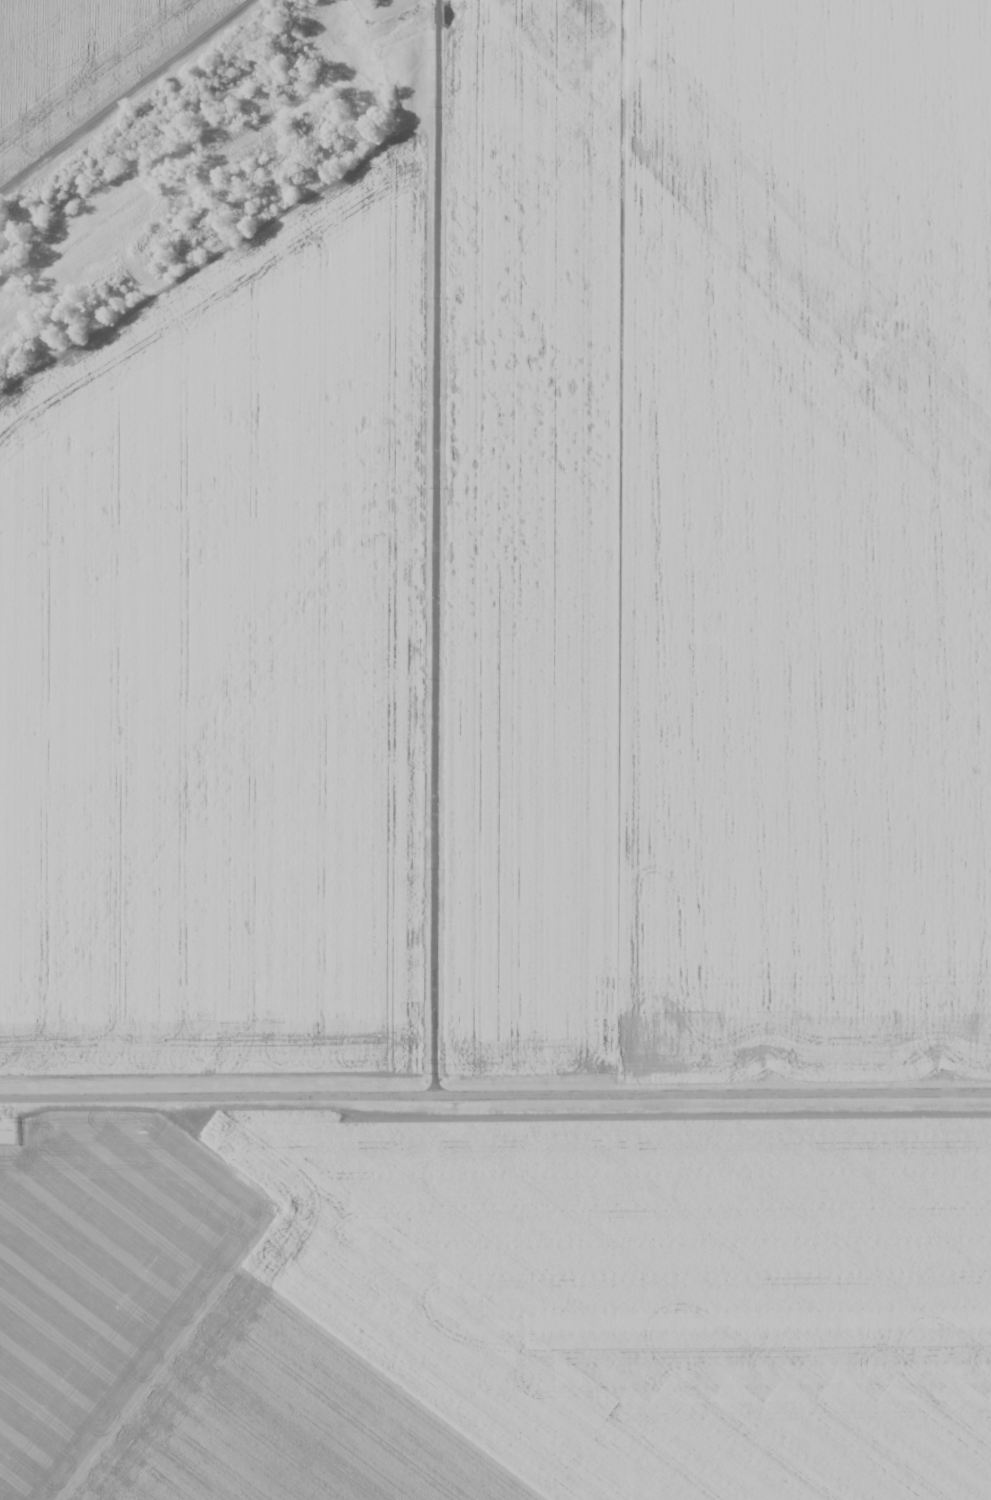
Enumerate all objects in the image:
road: (439, 541)
road: (495, 1082)

